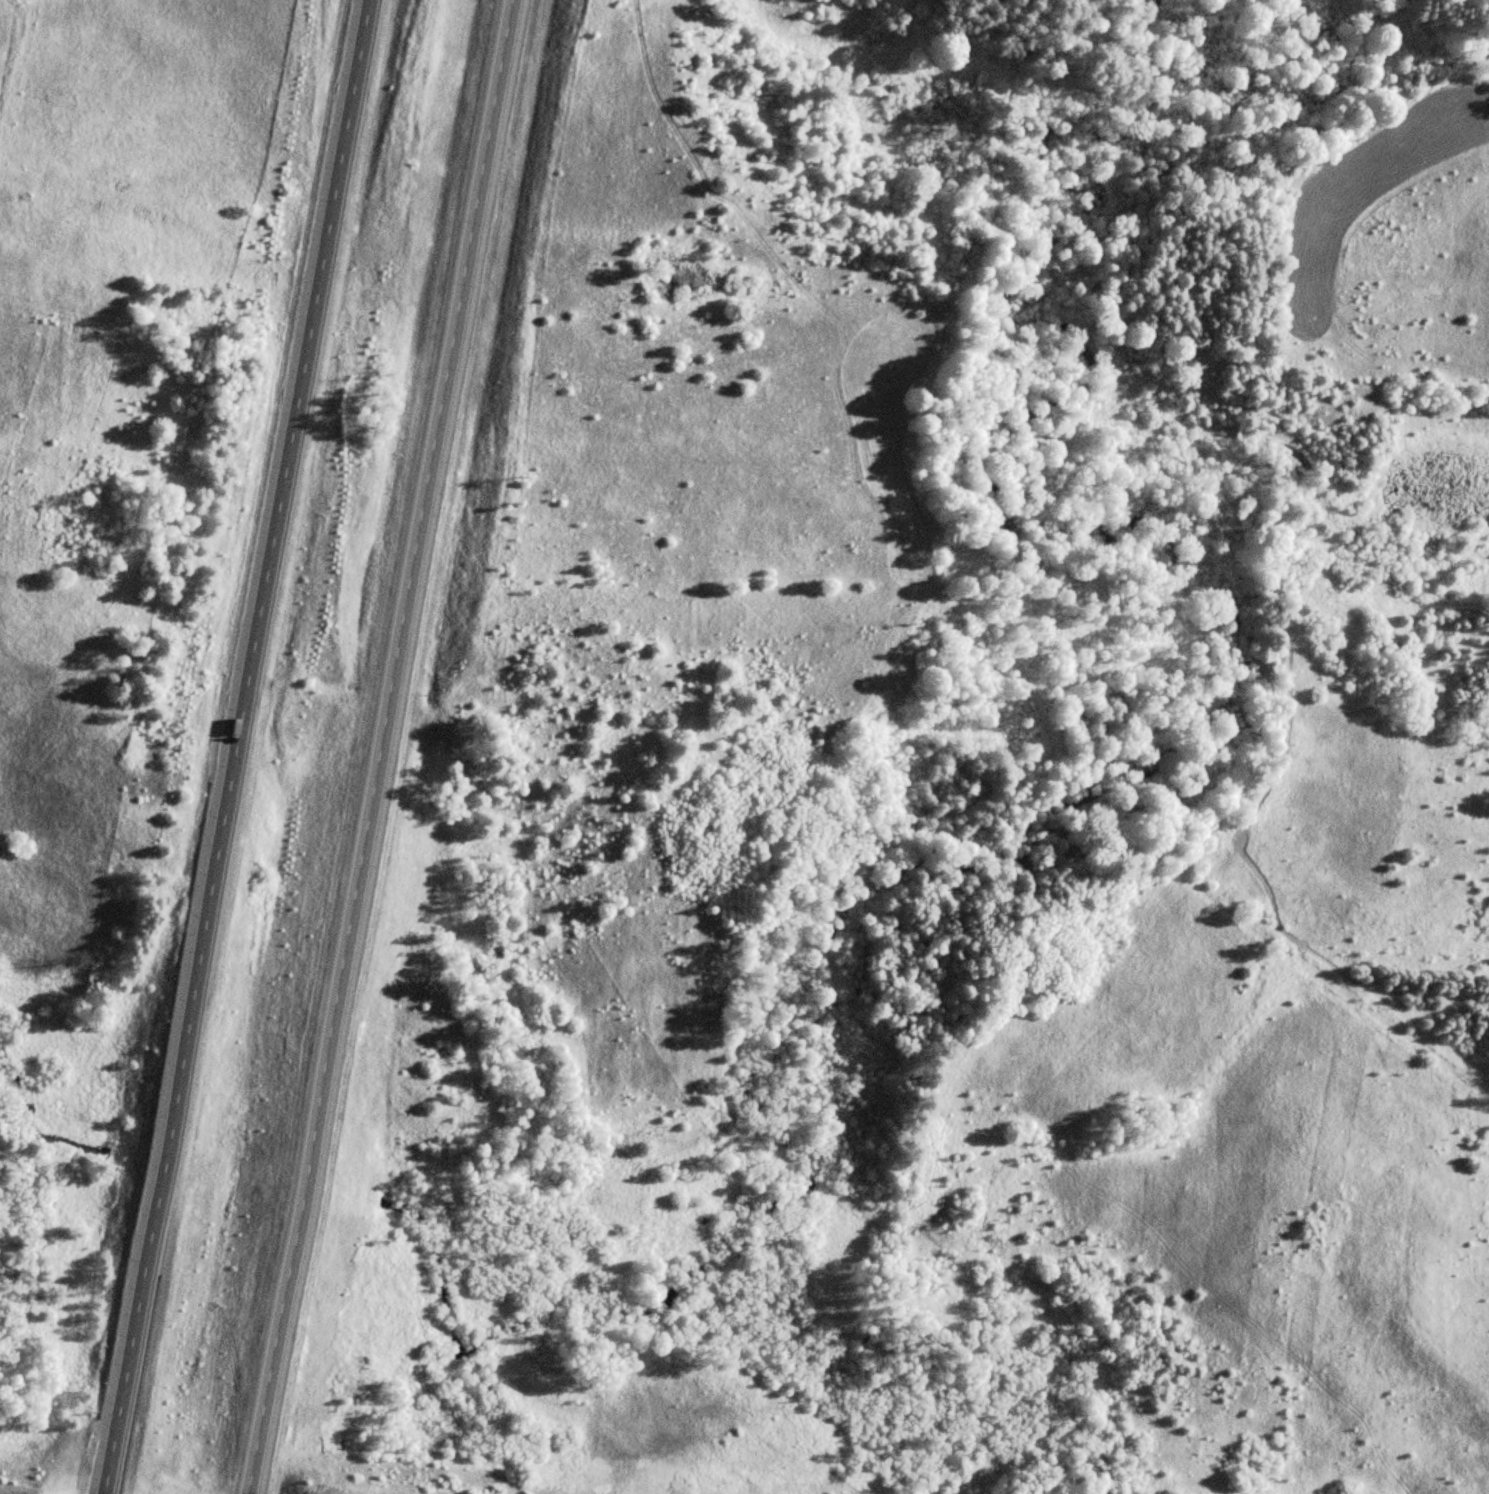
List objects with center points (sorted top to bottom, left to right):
road: (373, 746)
road: (233, 747)

